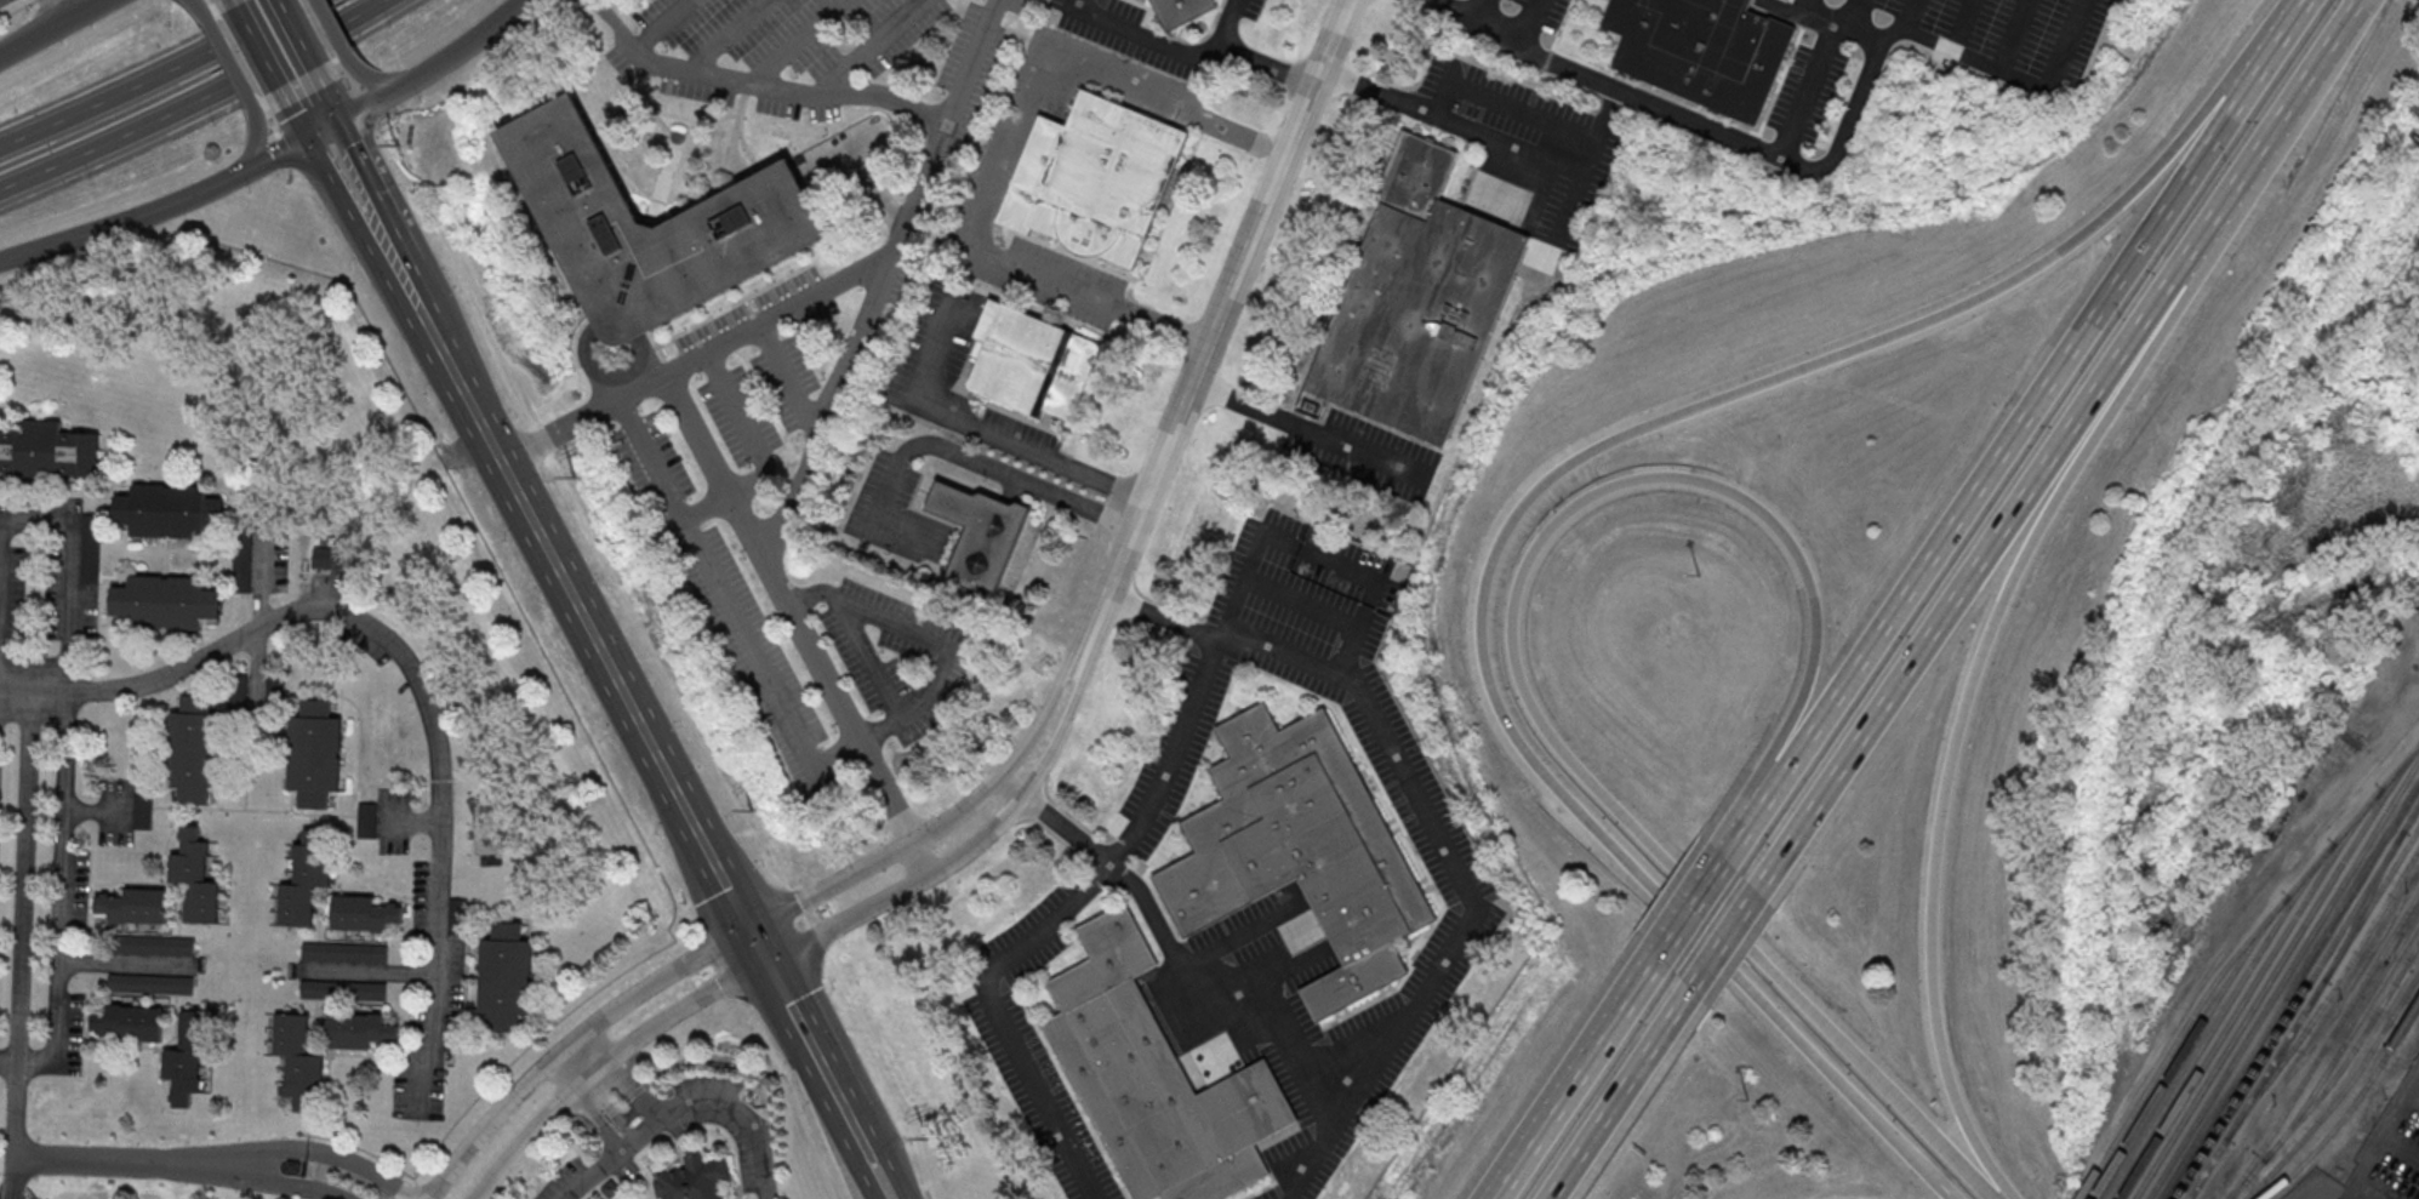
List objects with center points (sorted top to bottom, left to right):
parking lot: (1519, 1)
road: (209, 4)
road: (372, 6)
road: (16, 8)
building: (1180, 10)
road: (52, 11)
road: (1462, 12)
road: (1911, 15)
road: (1855, 16)
road: (1525, 22)
road: (662, 24)
road: (1961, 24)
parking lot: (1991, 25)
road: (49, 27)
road: (1839, 27)
road: (241, 30)
parking lot: (777, 30)
road: (2012, 34)
road: (321, 35)
road: (2334, 35)
road: (731, 36)
road: (335, 41)
road: (797, 41)
road: (1165, 42)
road: (872, 46)
road: (2266, 46)
road: (457, 47)
road: (296, 48)
building: (1702, 50)
road: (280, 56)
road: (239, 57)
road: (259, 57)
road: (1266, 63)
road: (226, 64)
road: (1045, 65)
parking lot: (1117, 69)
parking lot: (972, 72)
road: (347, 76)
road: (1113, 81)
road: (757, 84)
road: (375, 85)
road: (355, 87)
road: (1474, 91)
road: (1807, 91)
road: (92, 104)
road: (366, 107)
road: (329, 109)
road: (268, 116)
traffic signals: (335, 120)
road: (297, 125)
road: (318, 127)
road: (274, 131)
road: (1240, 133)
traffic signals: (303, 136)
road: (99, 144)
power tower: (399, 144)
road: (1511, 145)
parking lot: (839, 147)
road: (845, 147)
road: (252, 150)
road: (284, 152)
road: (1836, 153)
parking lot: (992, 160)
road: (1005, 161)
road: (2244, 170)
road: (295, 173)
building: (1094, 176)
road: (875, 184)
road: (1571, 205)
road: (378, 215)
road: (129, 221)
building: (647, 228)
road: (376, 251)
road: (1043, 278)
parking lot: (1051, 279)
road: (826, 280)
road: (879, 282)
building: (1416, 301)
road: (735, 303)
parking lot: (748, 315)
road: (618, 321)
road: (1214, 324)
road: (1162, 325)
road: (435, 338)
road: (697, 358)
road: (650, 360)
building: (1032, 361)
road: (666, 366)
road: (607, 375)
road: (787, 377)
road: (609, 395)
road: (734, 405)
parking lot: (738, 416)
road: (1303, 427)
road: (986, 432)
road: (942, 445)
building: (47, 451)
road: (647, 466)
road: (1985, 468)
power tower: (574, 479)
road: (52, 492)
road: (728, 493)
building: (169, 509)
road: (38, 515)
road: (679, 521)
road: (1505, 523)
building: (979, 532)
building: (91, 548)
road: (233, 554)
parking lot: (262, 556)
road: (262, 556)
building: (245, 559)
building: (327, 559)
parking lot: (65, 560)
road: (1967, 581)
road: (72, 584)
street lamp: (1698, 588)
parking lot: (11, 589)
road: (809, 594)
parking lot: (724, 598)
road: (1299, 600)
building: (165, 604)
road: (259, 612)
parking lot: (900, 620)
road: (795, 624)
road: (943, 638)
parking lot: (366, 639)
road: (598, 646)
road: (1512, 652)
road: (869, 656)
road: (757, 662)
parking lot: (865, 662)
road: (340, 672)
road: (16, 673)
road: (257, 674)
road: (418, 676)
road: (192, 691)
building: (238, 692)
building: (275, 692)
road: (1959, 718)
road: (850, 742)
building: (194, 750)
road: (255, 750)
road: (1171, 750)
building: (314, 756)
road: (246, 763)
road: (135, 776)
road: (359, 784)
road: (387, 786)
road: (154, 804)
road: (223, 807)
power tower: (753, 809)
building: (143, 810)
road: (316, 813)
road: (310, 820)
parking lot: (389, 820)
road: (411, 820)
building: (369, 821)
road: (943, 821)
road: (330, 830)
road: (1430, 835)
road: (970, 846)
road: (1728, 850)
building: (1300, 851)
building: (195, 878)
building: (304, 881)
road: (343, 887)
railway: (2366, 900)
road: (61, 902)
road: (411, 902)
parking lot: (427, 902)
road: (1690, 904)
building: (136, 906)
building: (364, 912)
building: (458, 915)
road: (23, 919)
traffic signals: (746, 926)
road: (1724, 941)
building: (152, 943)
road: (755, 943)
building: (344, 952)
road: (1009, 955)
railway: (2232, 959)
traffic signals: (765, 960)
road: (126, 963)
railway: (2275, 971)
road: (369, 972)
building: (506, 976)
railway: (2283, 980)
building: (152, 982)
road: (778, 984)
building: (343, 989)
railway: (2248, 990)
railway: (2290, 992)
road: (1627, 995)
railway: (2327, 997)
railway: (2298, 1001)
road: (1210, 1006)
railway: (2304, 1012)
railway: (2218, 1017)
building: (130, 1021)
building: (360, 1028)
building: (455, 1034)
road: (570, 1041)
road: (810, 1041)
railway: (2344, 1043)
railway: (2187, 1045)
railway: (2324, 1047)
building: (189, 1052)
building: (298, 1057)
road: (605, 1062)
road: (617, 1072)
building: (1154, 1078)
railway: (2334, 1078)
parking lot: (418, 1090)
road: (1621, 1094)
railway: (2341, 1094)
road: (586, 1096)
street lamp: (1748, 1102)
road: (684, 1103)
road: (844, 1108)
railway: (2350, 1108)
road: (1542, 1118)
road: (728, 1136)
road: (808, 1136)
road: (843, 1137)
power tower: (928, 1140)
road: (645, 1148)
road: (318, 1149)
parking lot: (2378, 1157)
road: (112, 1163)
road: (868, 1169)
road: (883, 1169)
road: (635, 1175)
building: (695, 1178)
road: (278, 1181)
road: (928, 1194)

